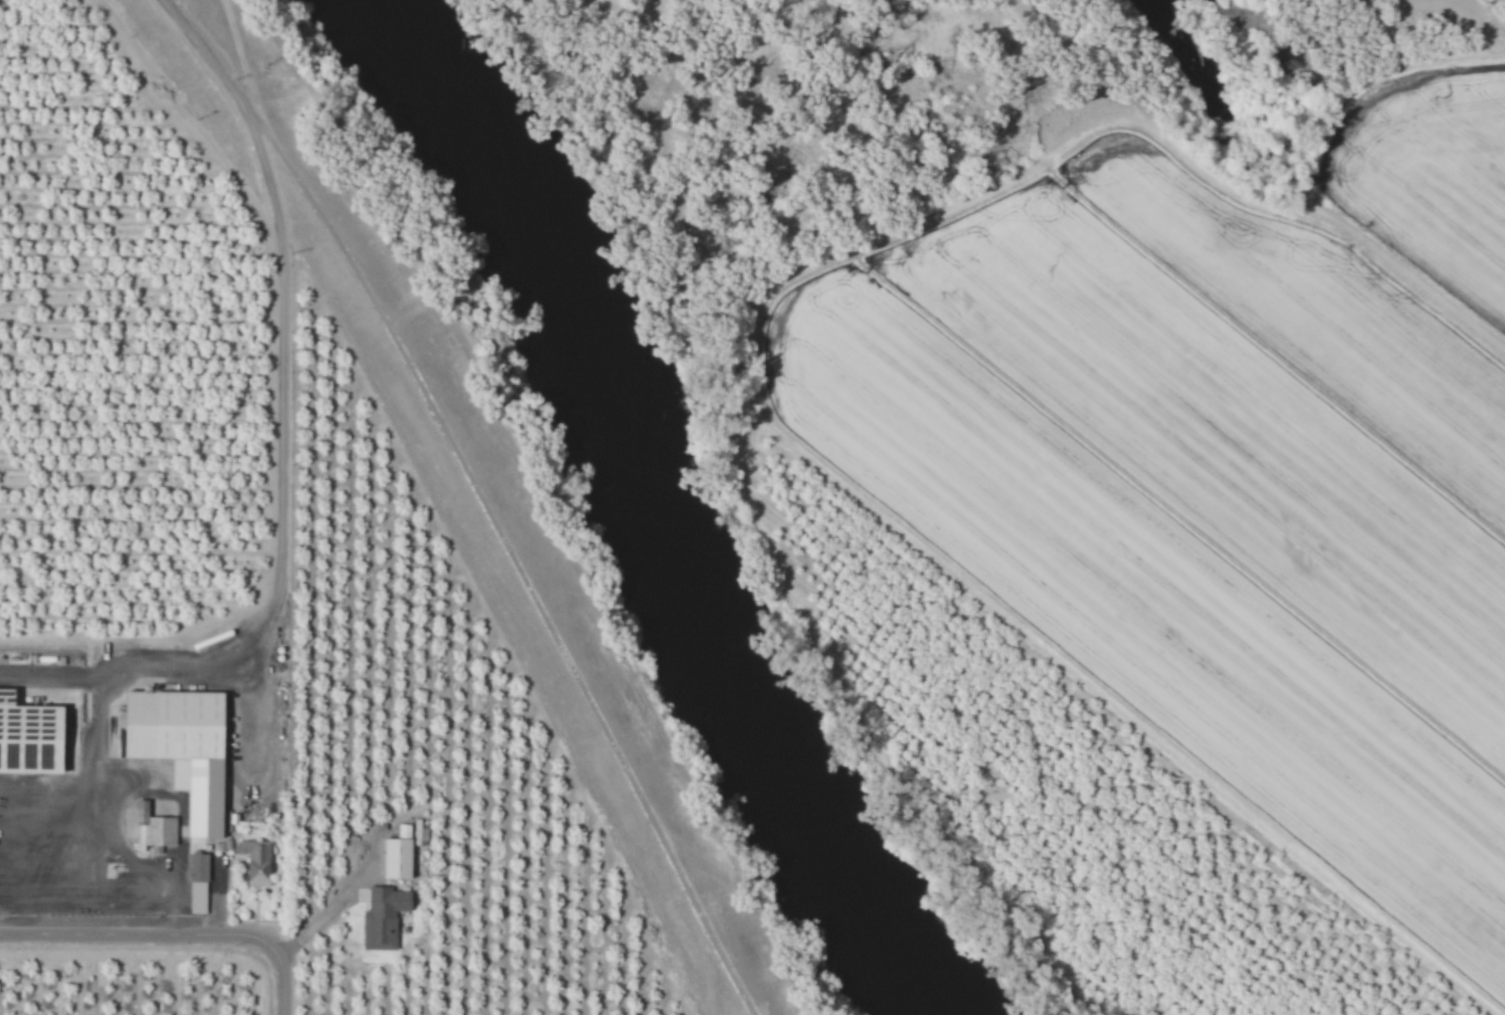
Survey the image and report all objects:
road: (206, 54)
road: (512, 556)
road: (278, 588)
building: (29, 737)
building: (182, 748)
building: (155, 831)
building: (397, 858)
building: (257, 863)
building: (199, 884)
building: (384, 918)
road: (172, 934)

